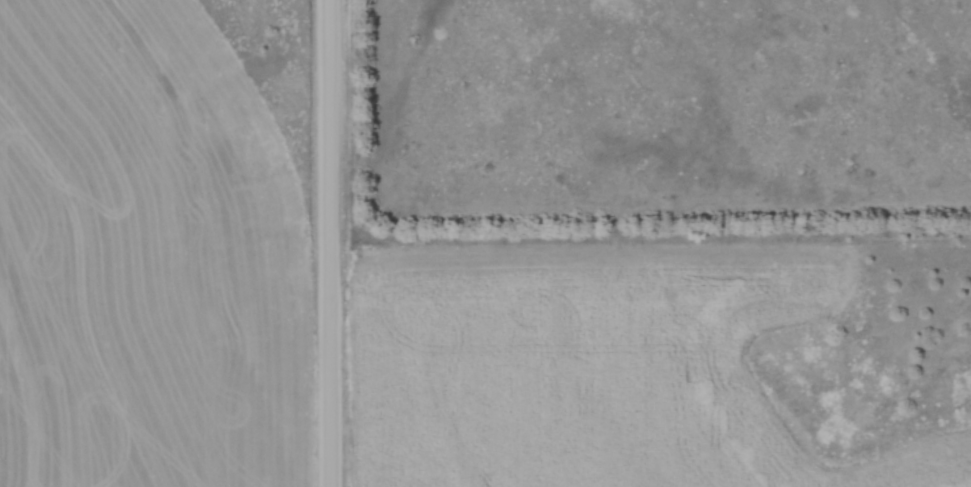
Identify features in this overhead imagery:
road: (331, 243)

